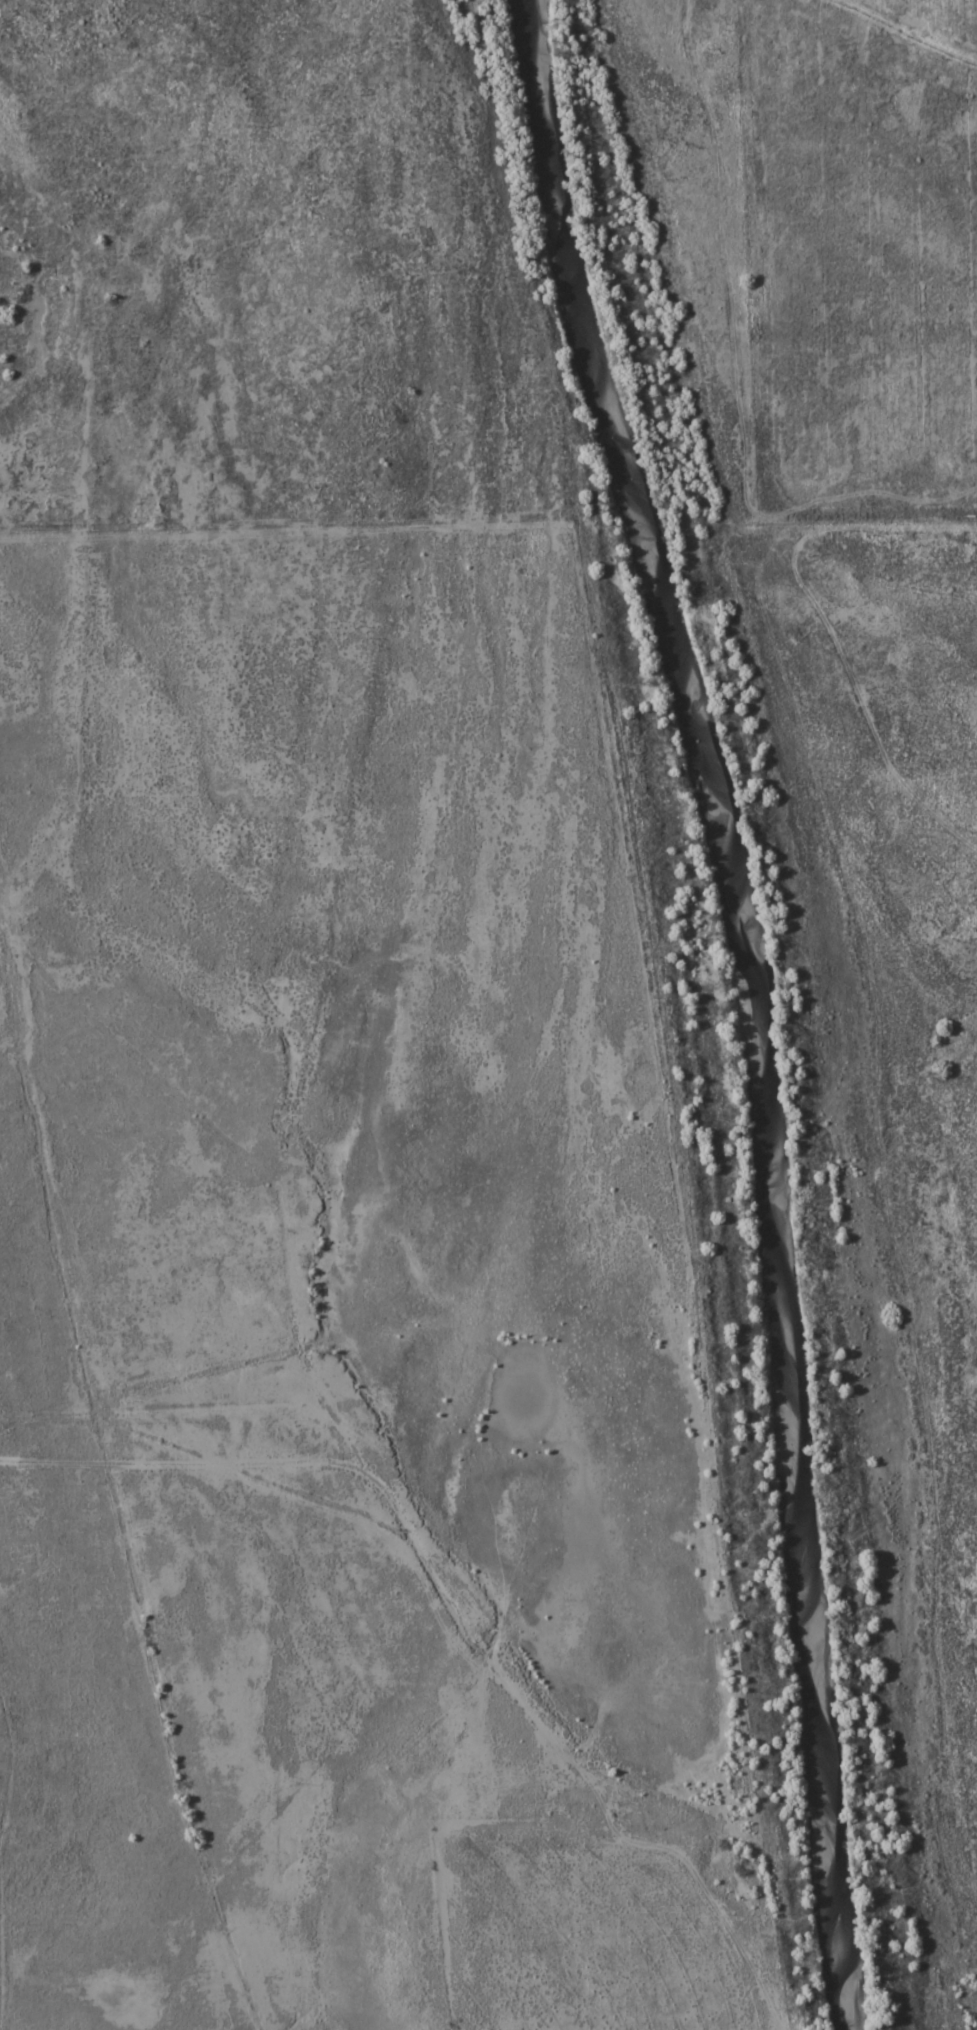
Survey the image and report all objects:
river: (753, 1003)

